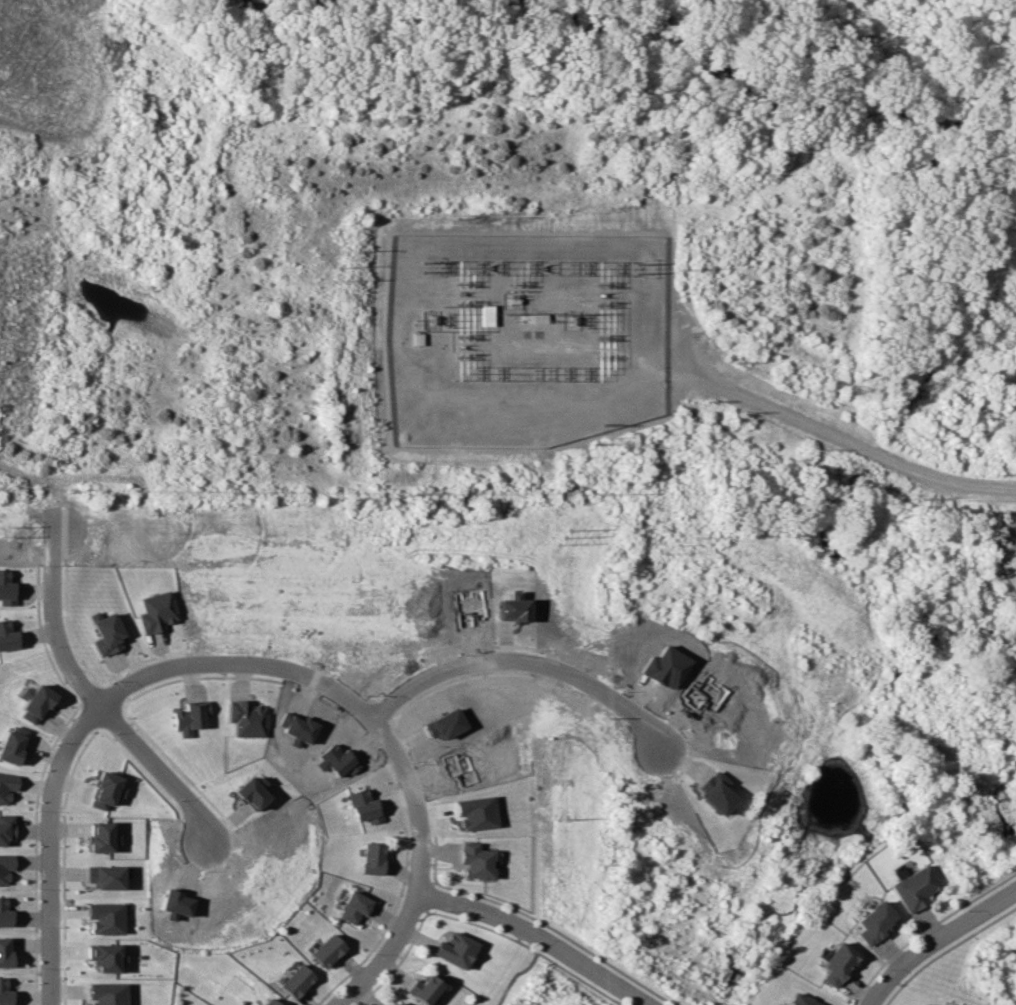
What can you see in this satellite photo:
power tower: (343, 266)
power tower: (429, 266)
power tower: (636, 269)
power tower: (676, 269)
building: (488, 315)
building: (534, 317)
power substation: (524, 336)
road: (822, 428)
road: (996, 488)
power tower: (672, 543)
building: (156, 611)
road: (50, 614)
building: (105, 633)
road: (519, 662)
road: (269, 668)
power tower: (962, 732)
building: (12, 744)
road: (153, 769)
building: (7, 786)
building: (106, 790)
building: (365, 806)
building: (476, 812)
building: (7, 829)
building: (103, 836)
building: (373, 858)
building: (475, 860)
building: (5, 868)
road: (51, 875)
building: (105, 876)
building: (914, 888)
building: (355, 907)
building: (5, 914)
building: (106, 917)
building: (873, 922)
road: (402, 927)
road: (537, 937)
road: (941, 943)
building: (454, 949)
building: (327, 950)
building: (5, 952)
building: (105, 956)
building: (836, 963)
road: (519, 971)
building: (295, 980)
building: (422, 988)
building: (5, 993)
building: (106, 993)
building: (801, 1000)
building: (396, 1003)

